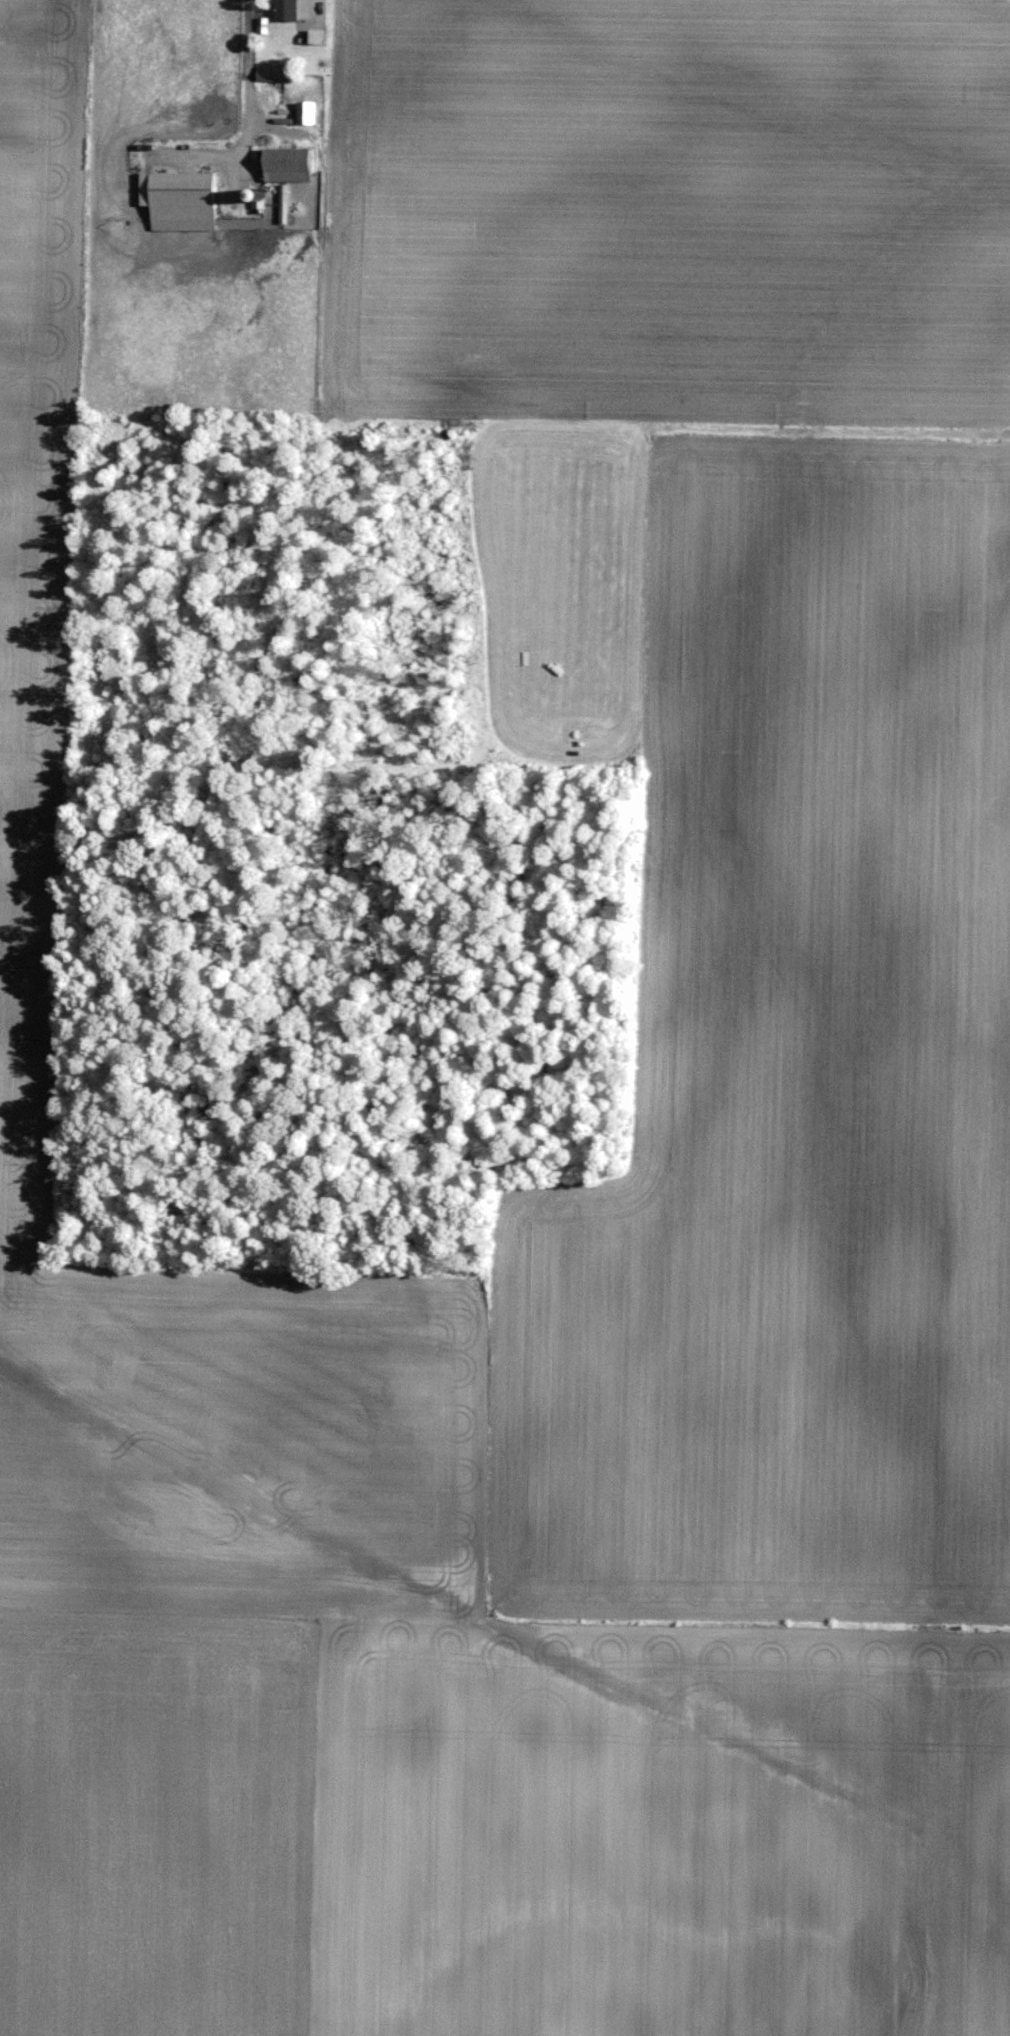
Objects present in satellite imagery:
road: (247, 107)
road: (278, 134)

